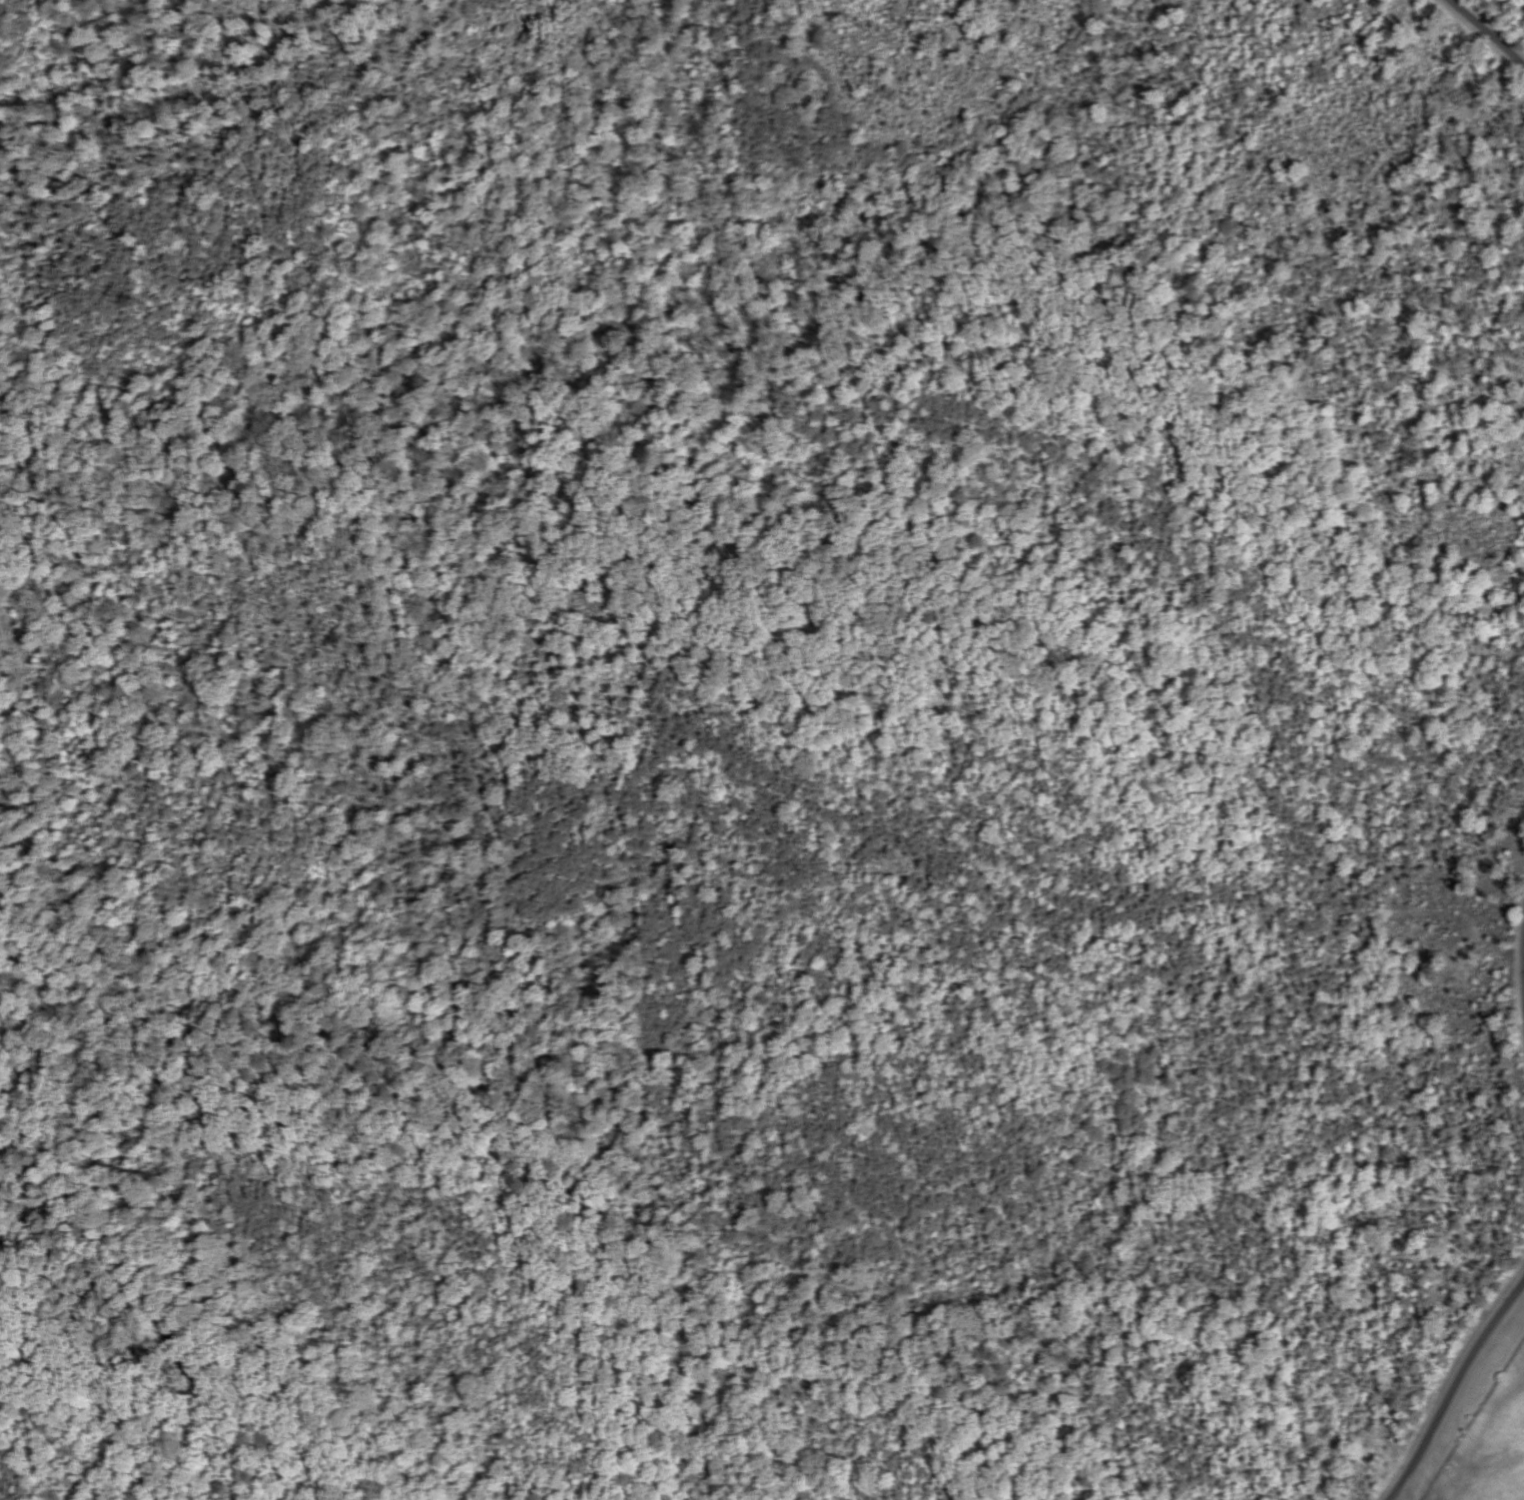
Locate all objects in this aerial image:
road: (1492, 29)
road: (1455, 1389)
airport: (1490, 1447)

